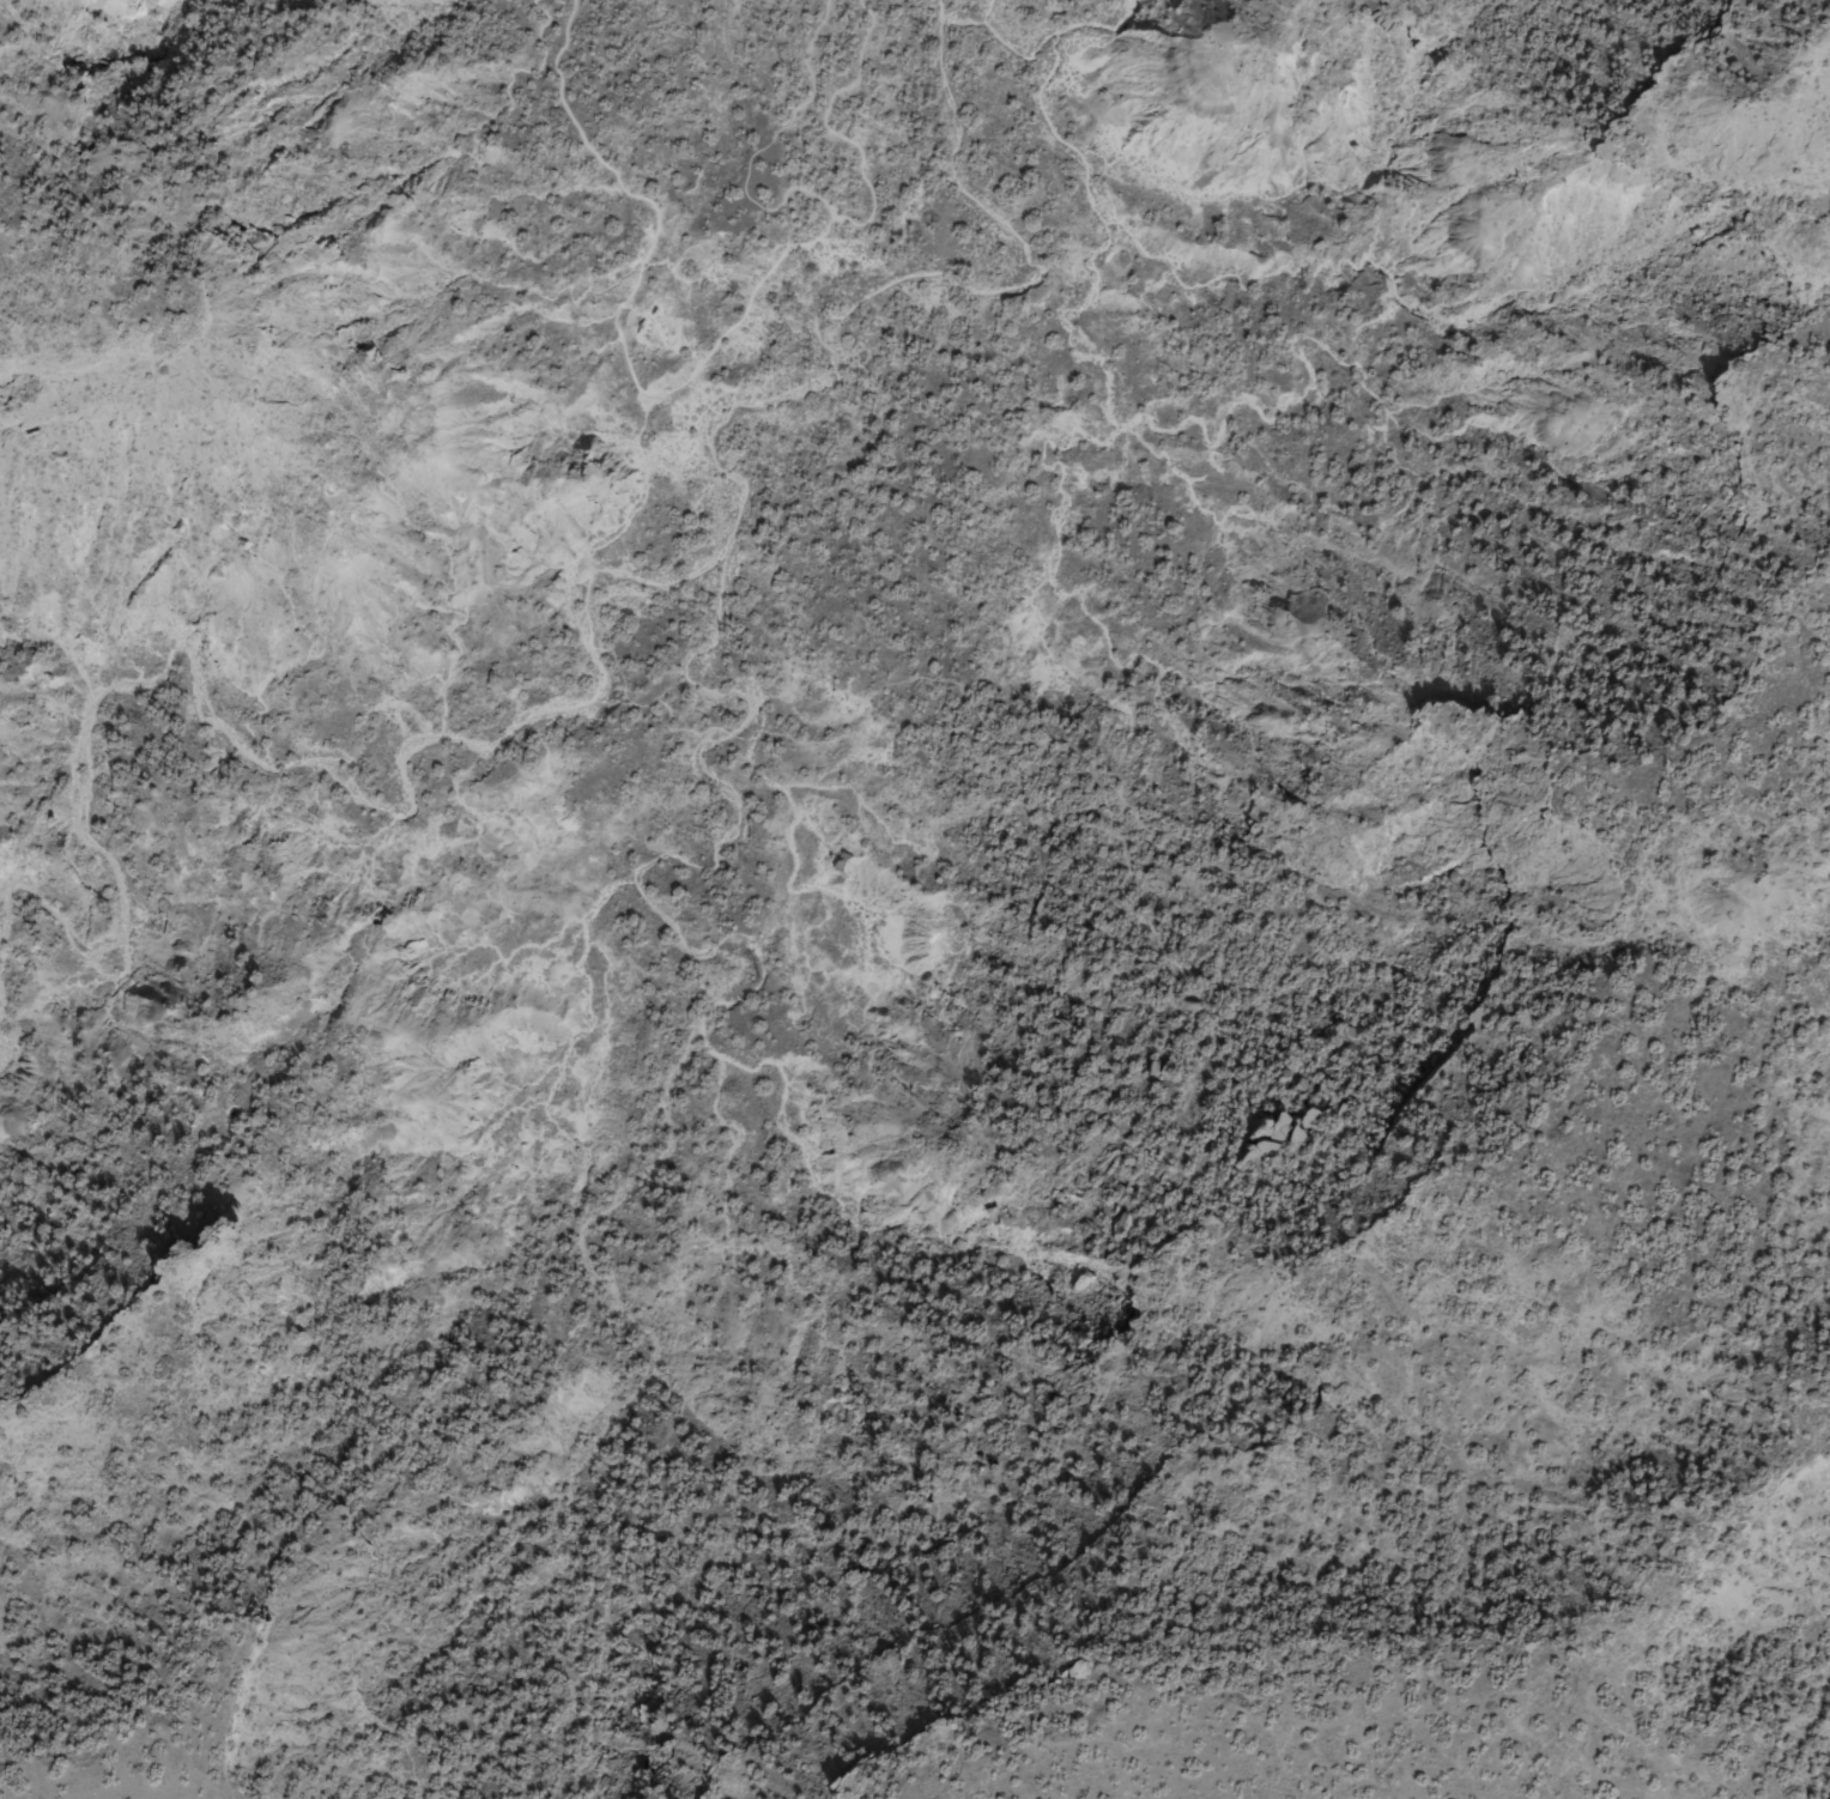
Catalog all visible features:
road: (766, 145)
road: (687, 377)

